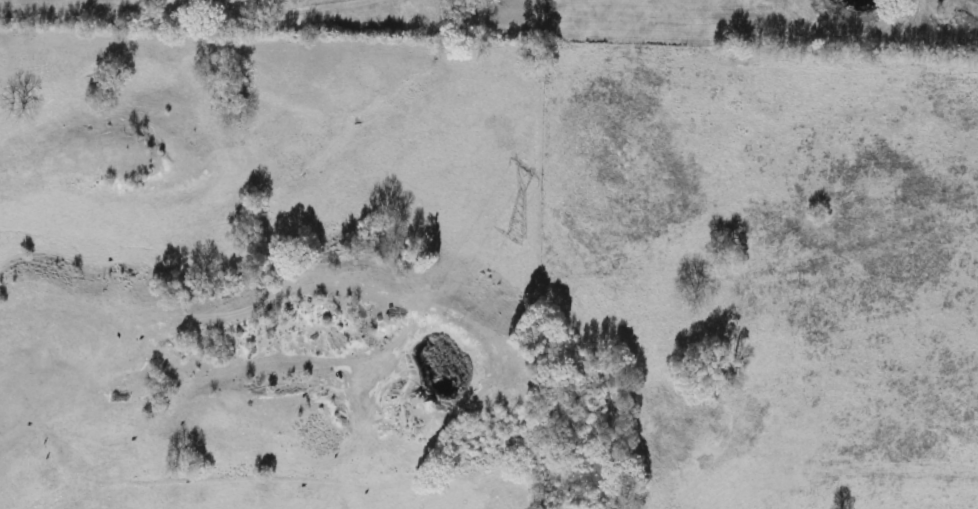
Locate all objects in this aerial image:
road: (287, 7)
power tower: (518, 235)

